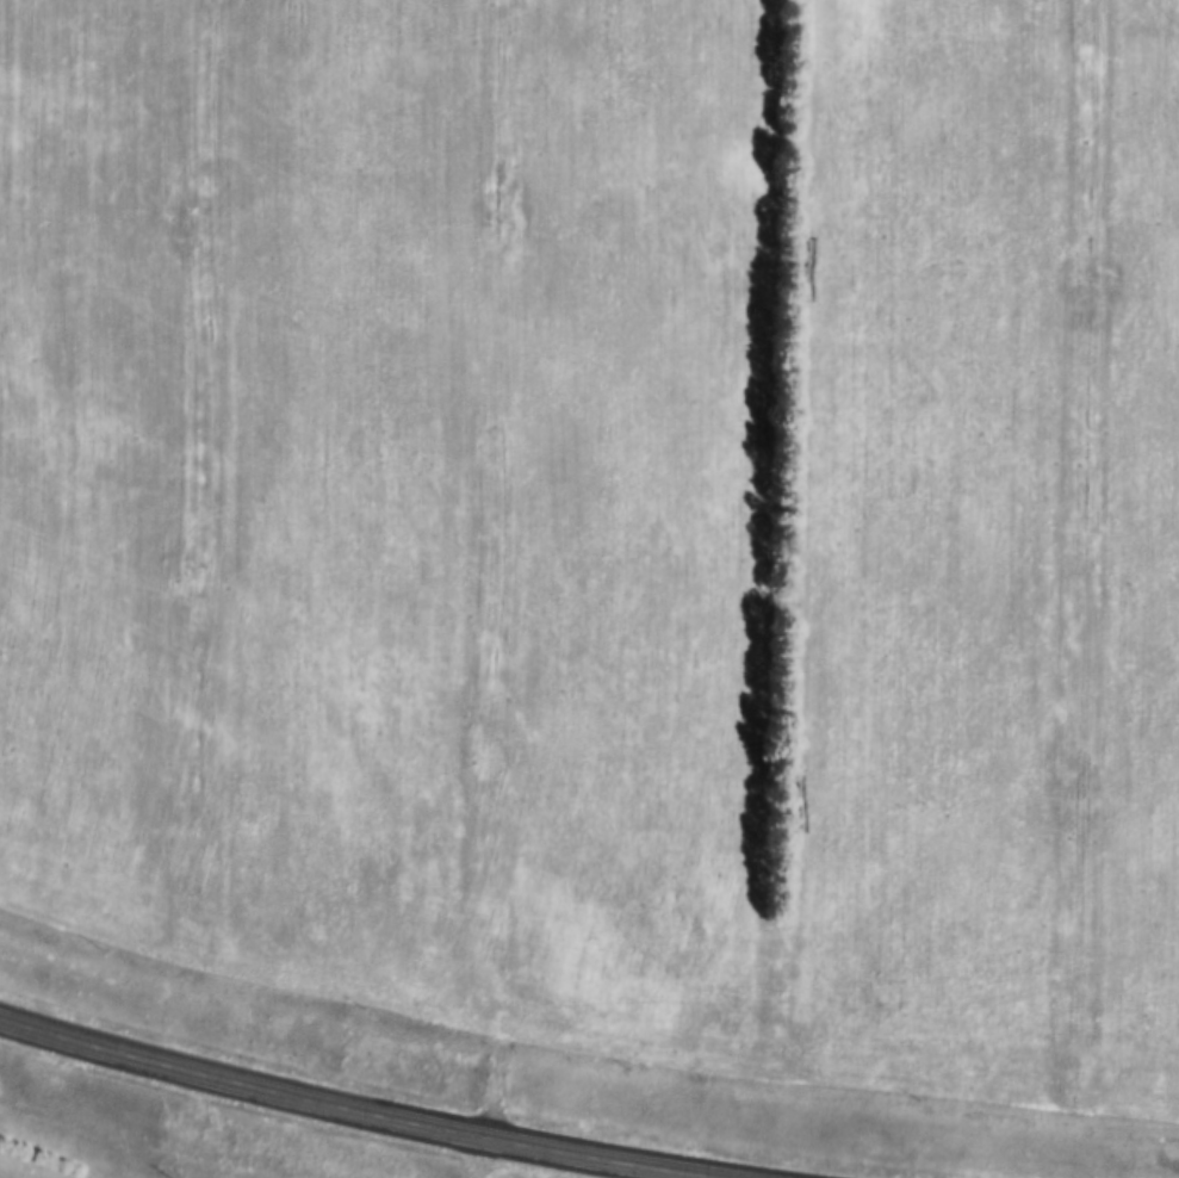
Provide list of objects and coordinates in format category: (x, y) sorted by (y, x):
road: (379, 1110)

